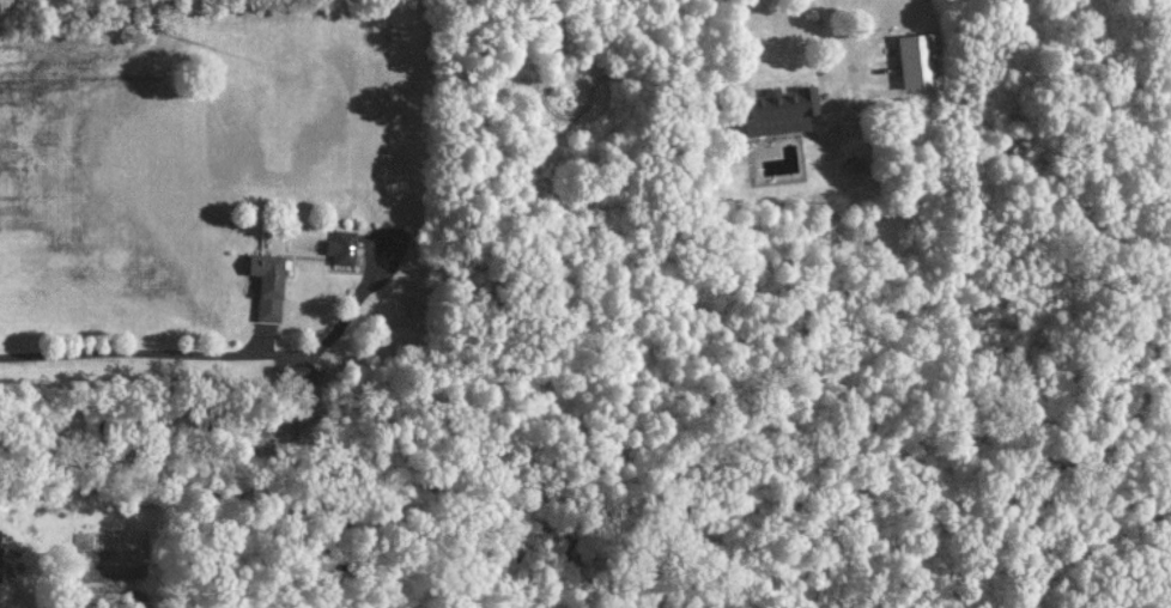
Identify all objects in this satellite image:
road: (832, 36)
building: (915, 60)
building: (783, 109)
building: (344, 247)
building: (271, 284)
road: (220, 352)
building: (293, 375)
building: (1, 551)

